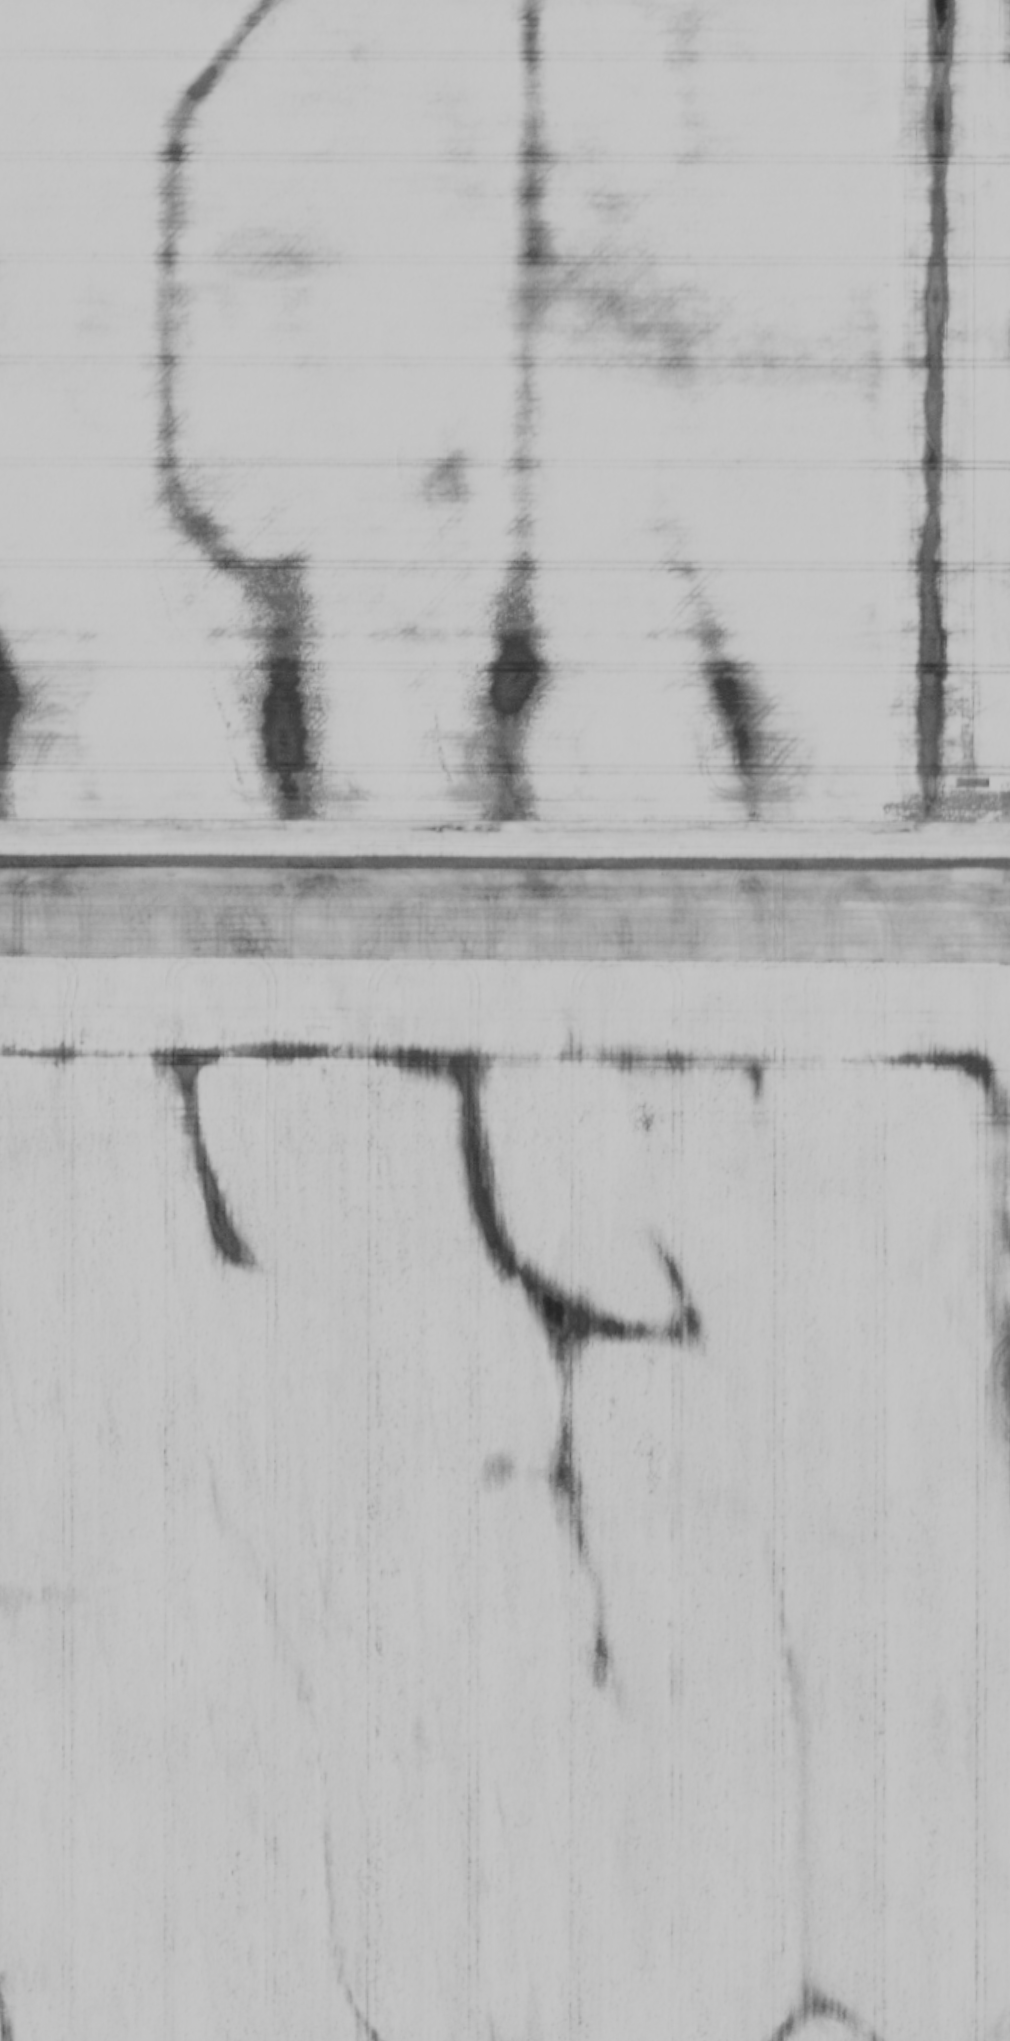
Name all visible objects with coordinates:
road: (505, 862)

